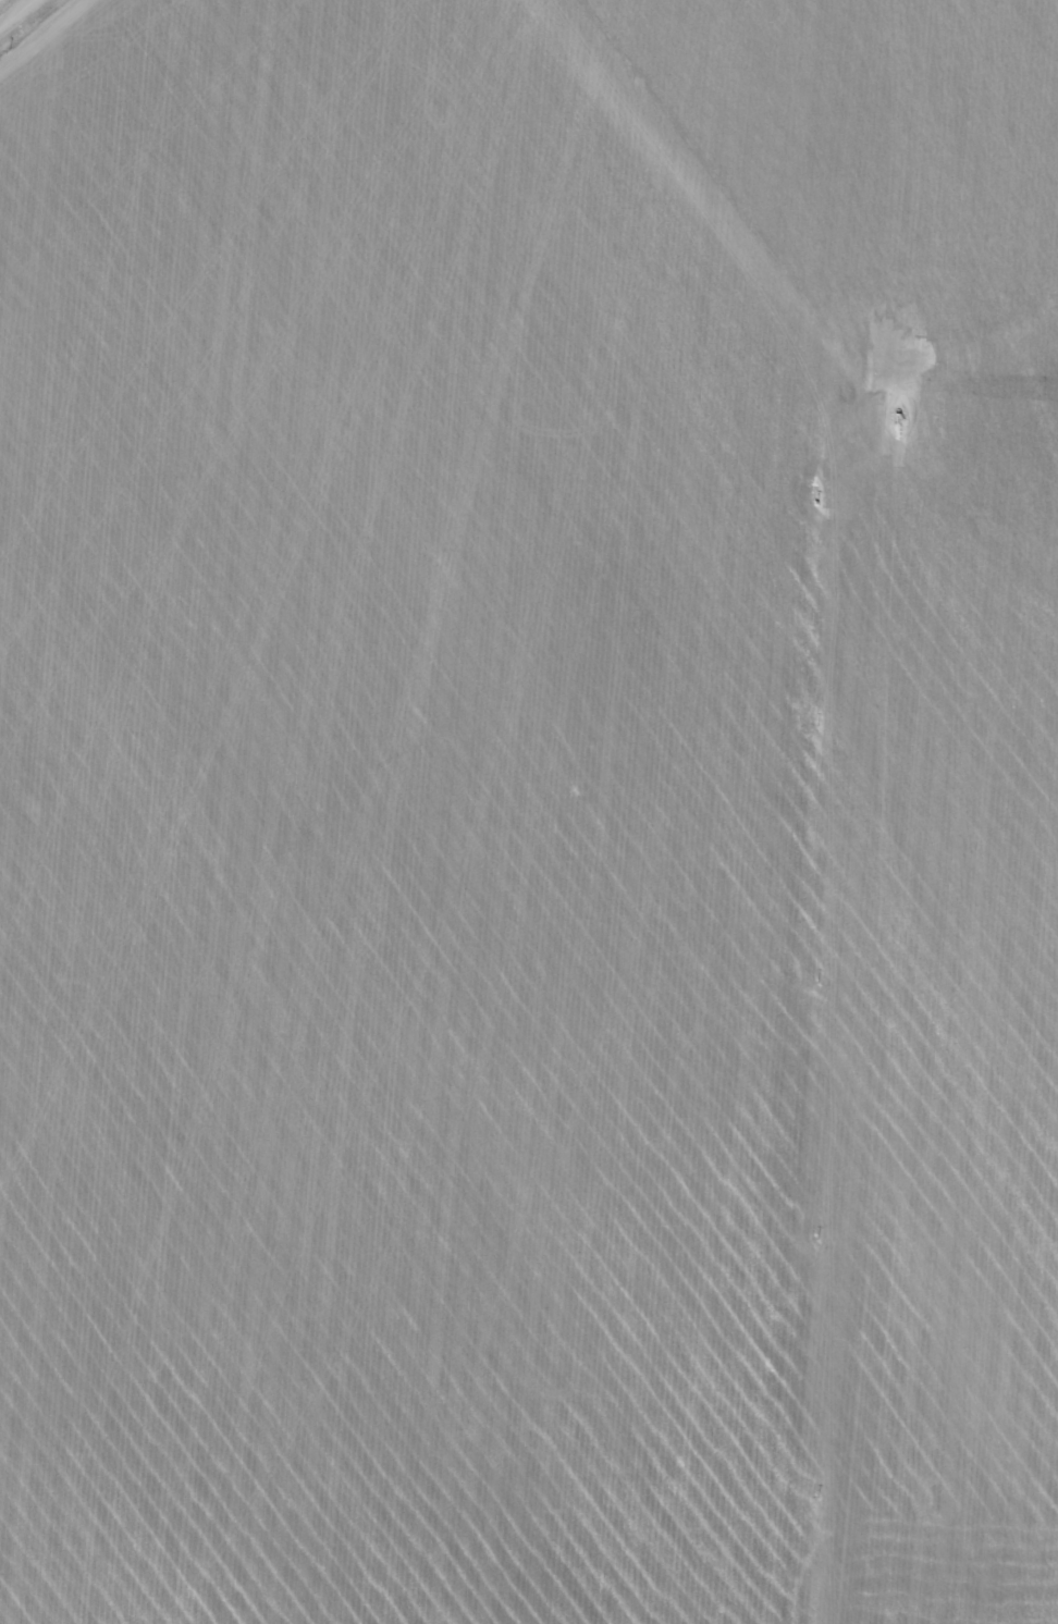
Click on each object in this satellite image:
road: (16, 13)

